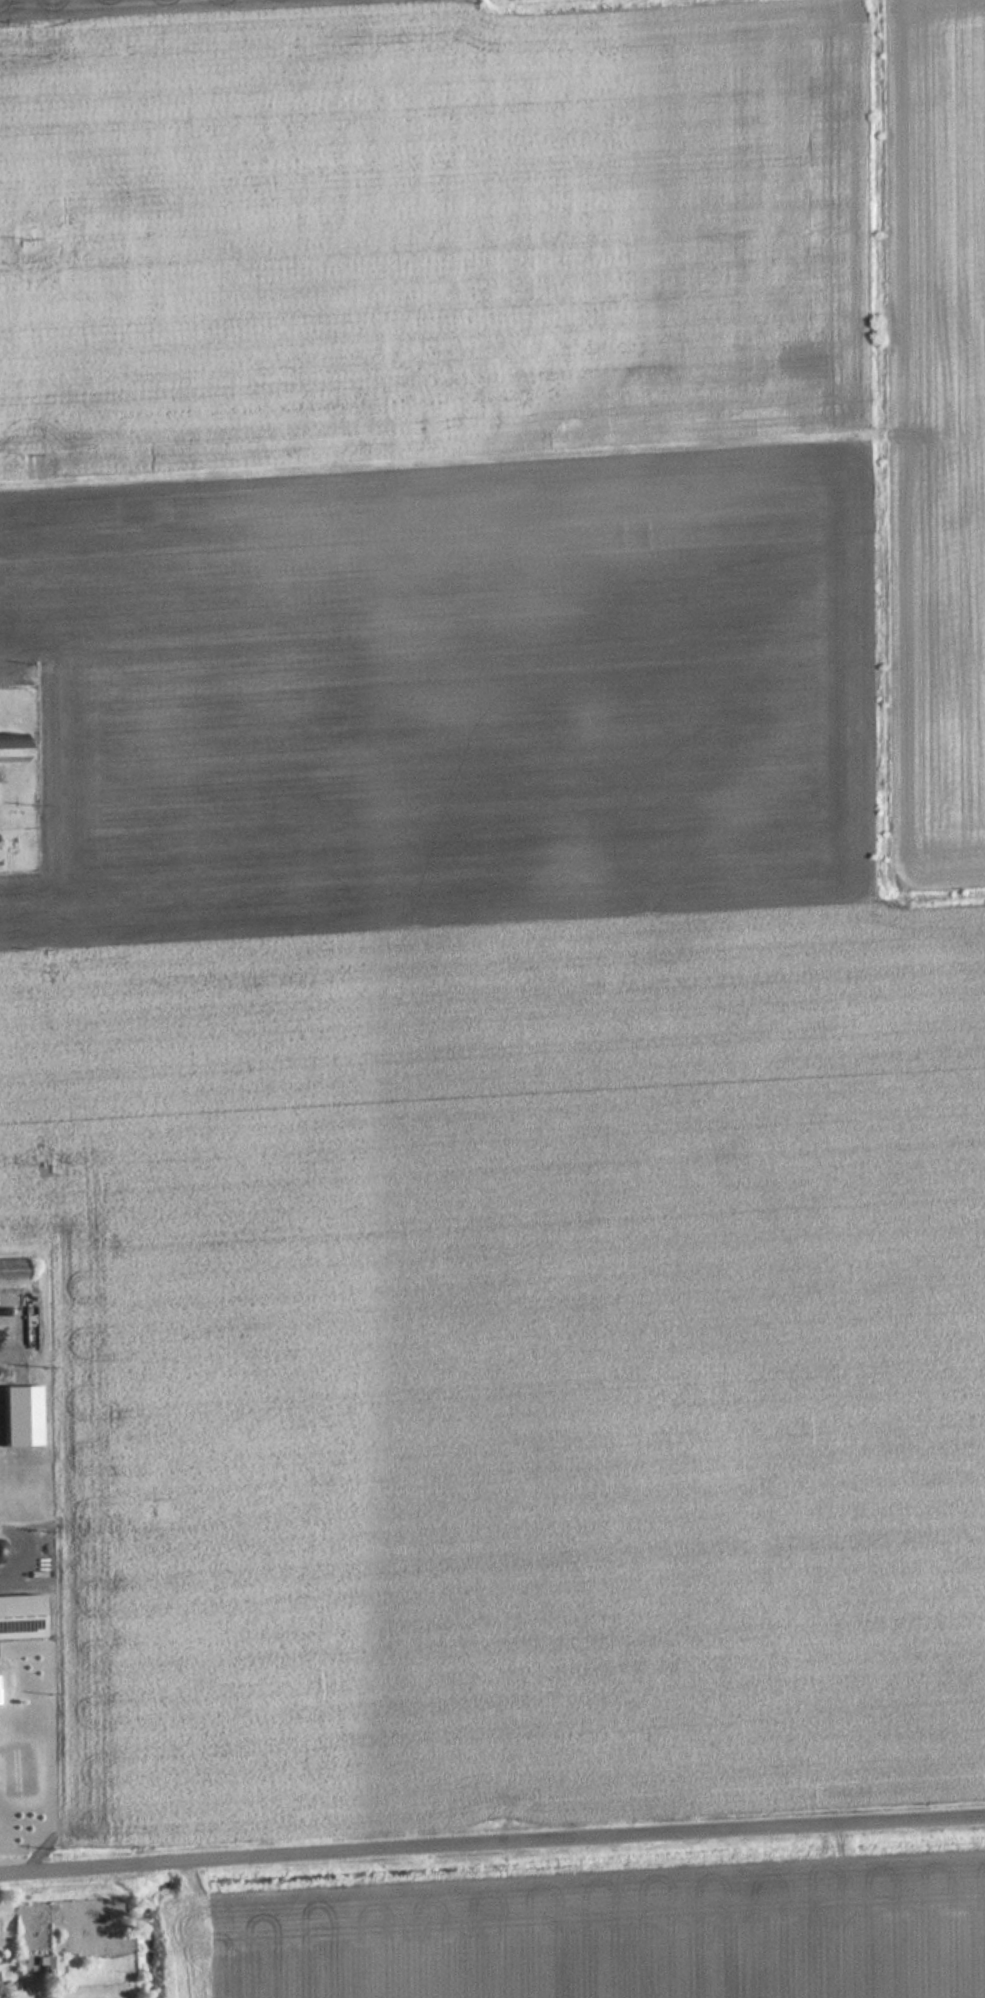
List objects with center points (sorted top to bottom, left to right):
building: (12, 750)
building: (13, 1273)
building: (22, 1415)
building: (21, 1617)
road: (492, 1845)
building: (50, 1964)

